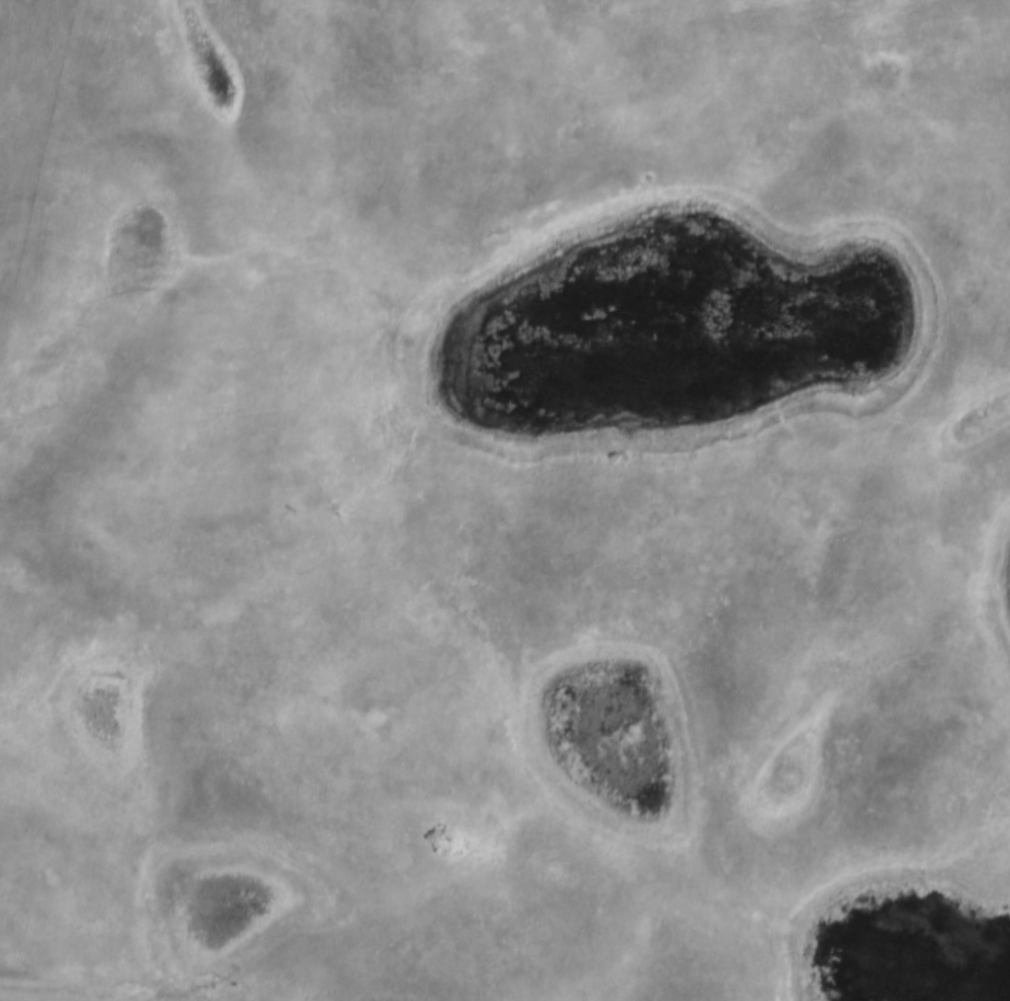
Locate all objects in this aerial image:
road: (43, 998)

